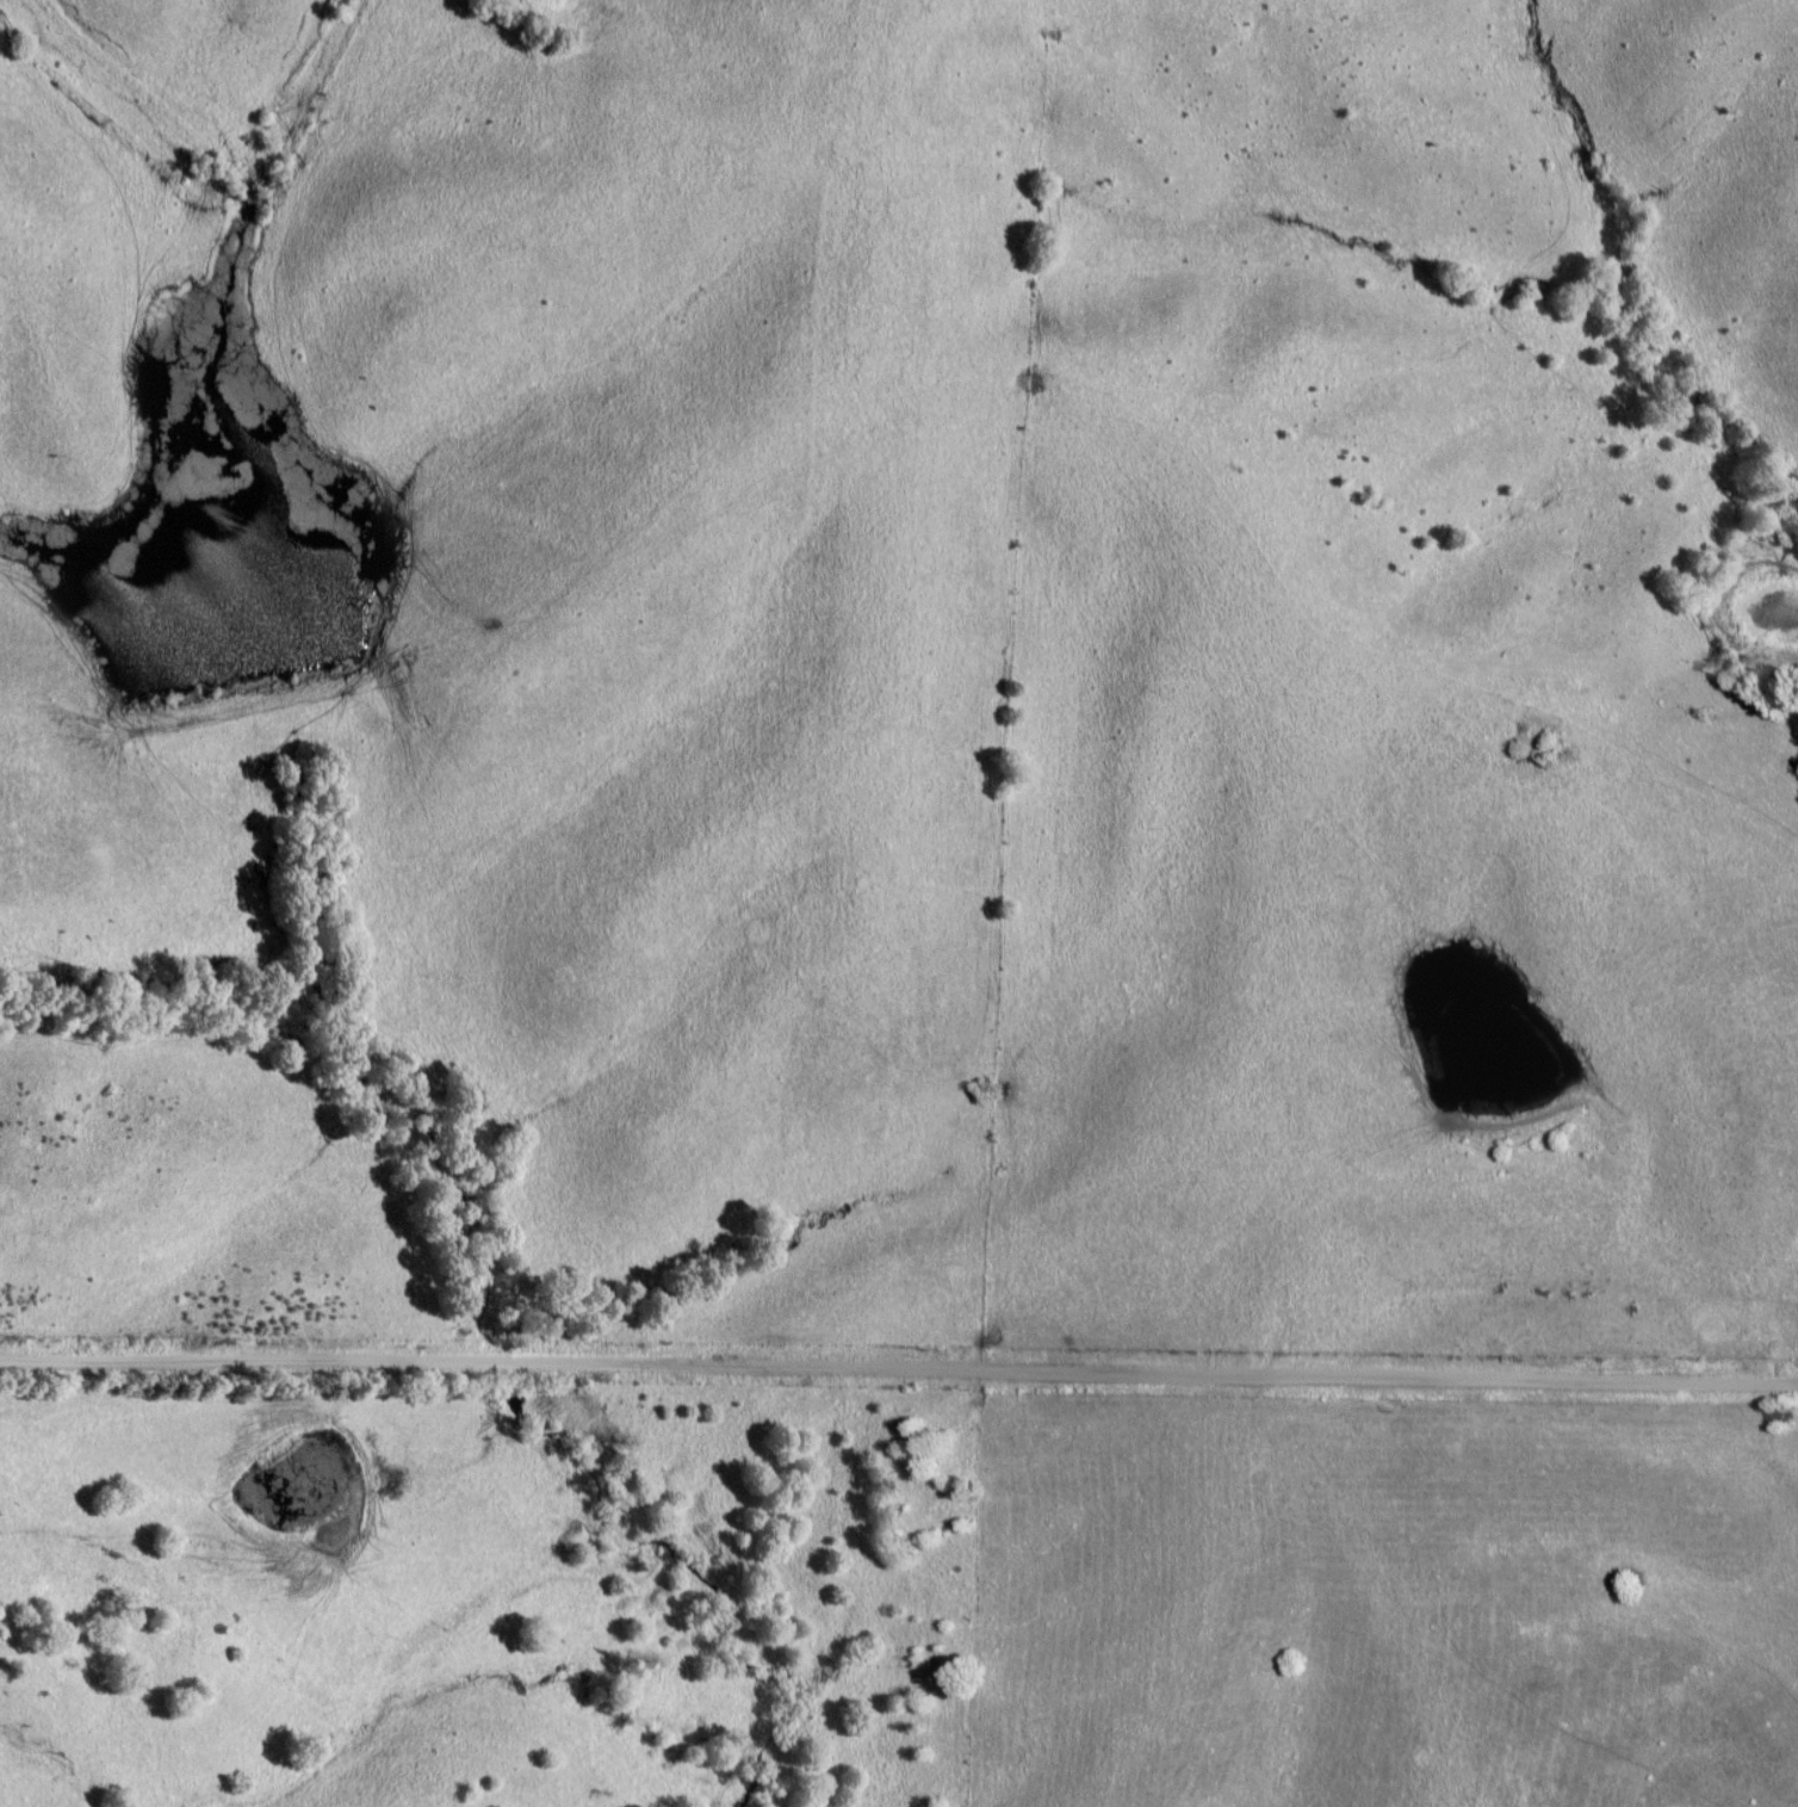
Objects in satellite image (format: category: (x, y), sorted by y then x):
road: (899, 1376)

